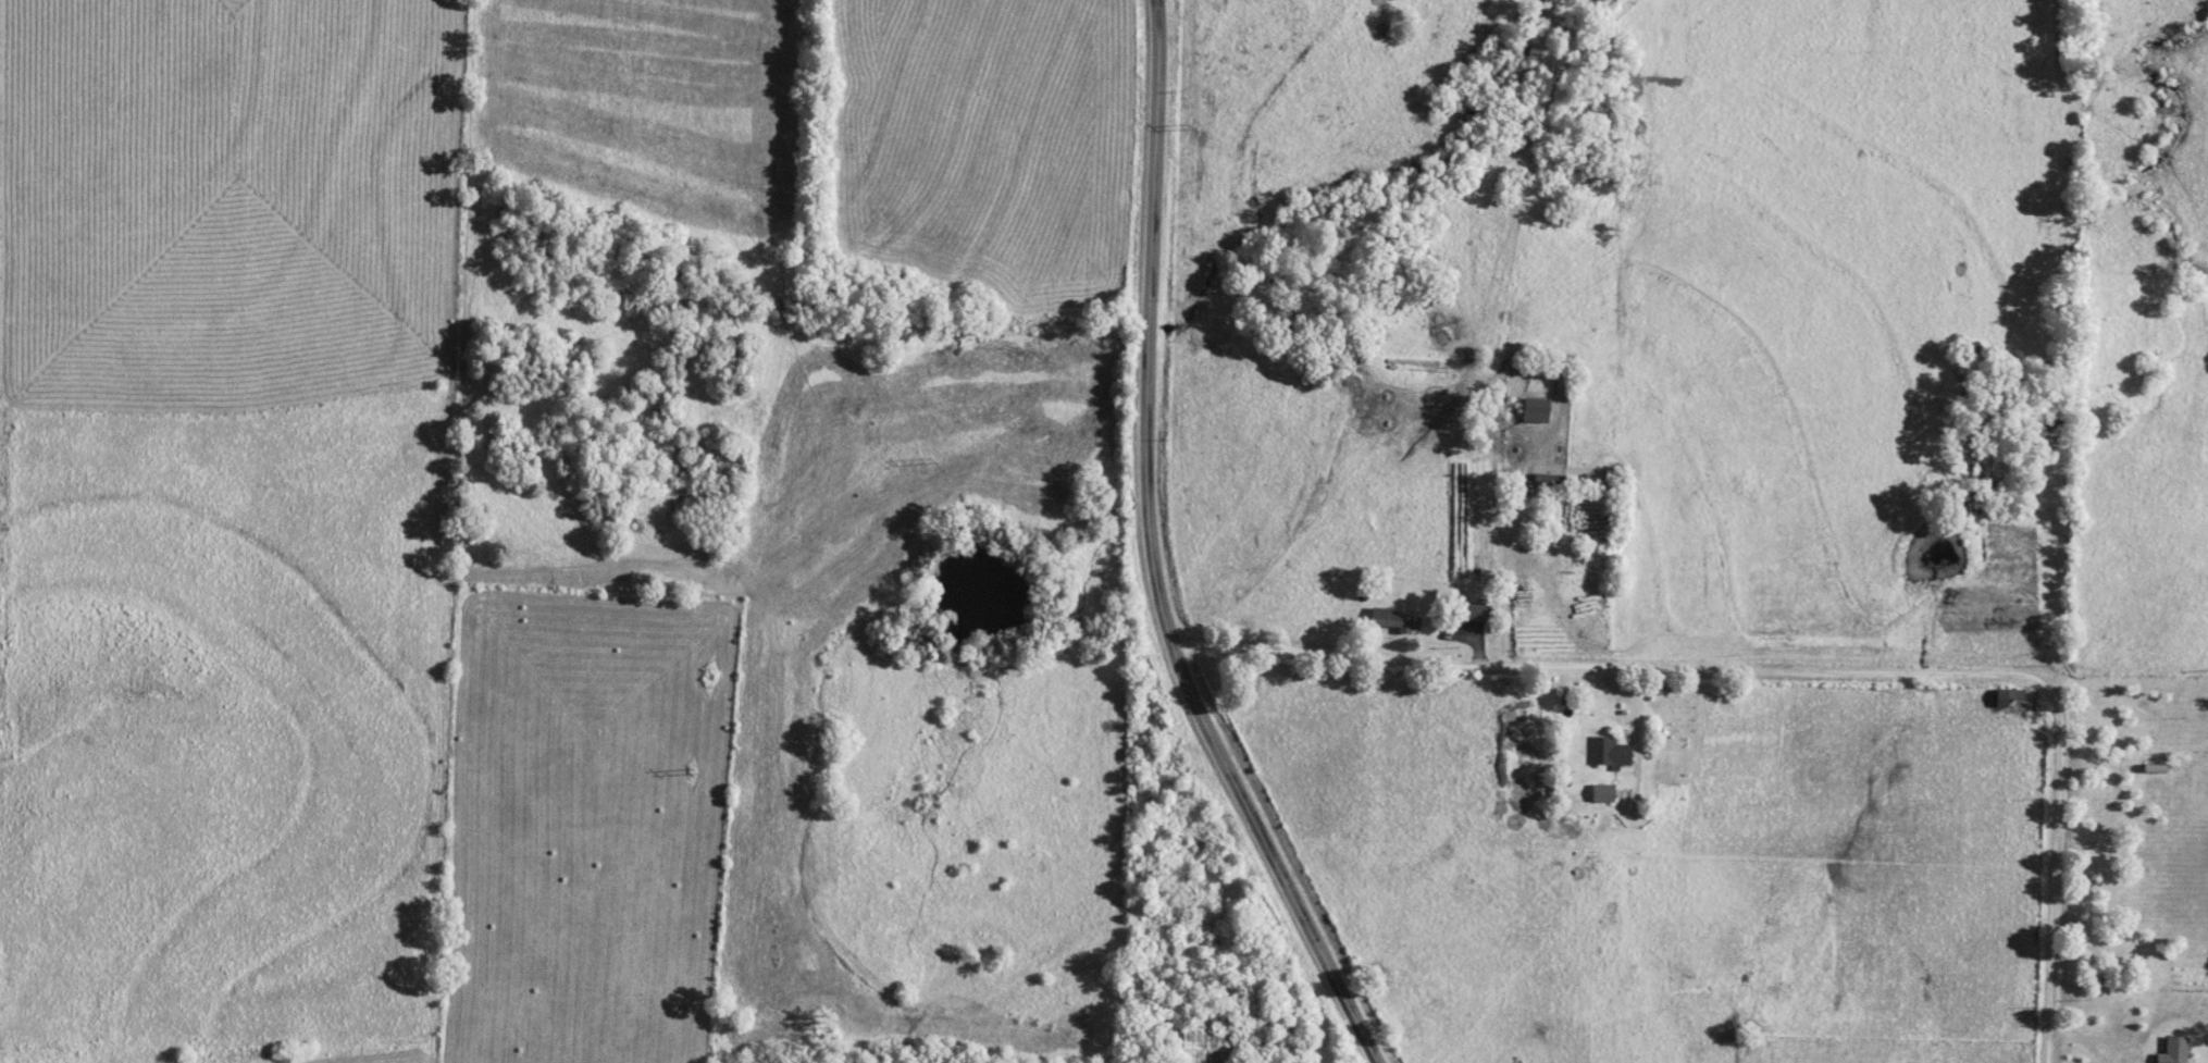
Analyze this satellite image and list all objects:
road: (1149, 324)
building: (1536, 409)
building: (1550, 482)
road: (437, 531)
road: (1493, 548)
building: (1471, 610)
building: (1393, 619)
road: (1637, 668)
park: (1267, 684)
building: (2008, 695)
road: (1633, 736)
building: (1607, 751)
building: (1602, 791)
road: (1274, 855)
road: (2054, 898)
road: (2130, 943)
building: (1207, 1043)
building: (2175, 1049)
road: (222, 1059)

